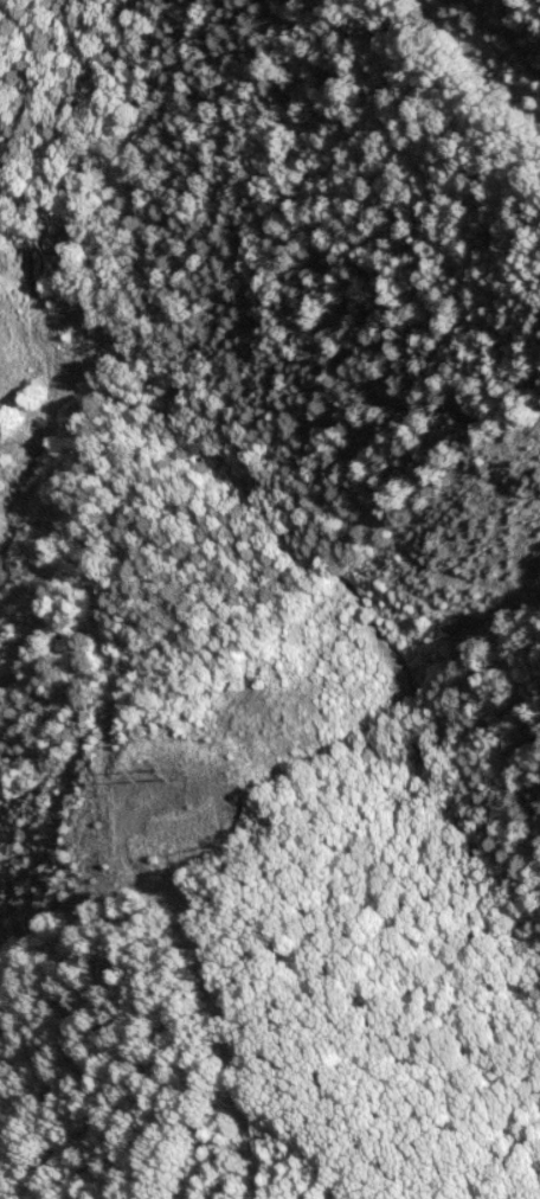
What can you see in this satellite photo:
power tower: (167, 777)
airport: (40, 911)

